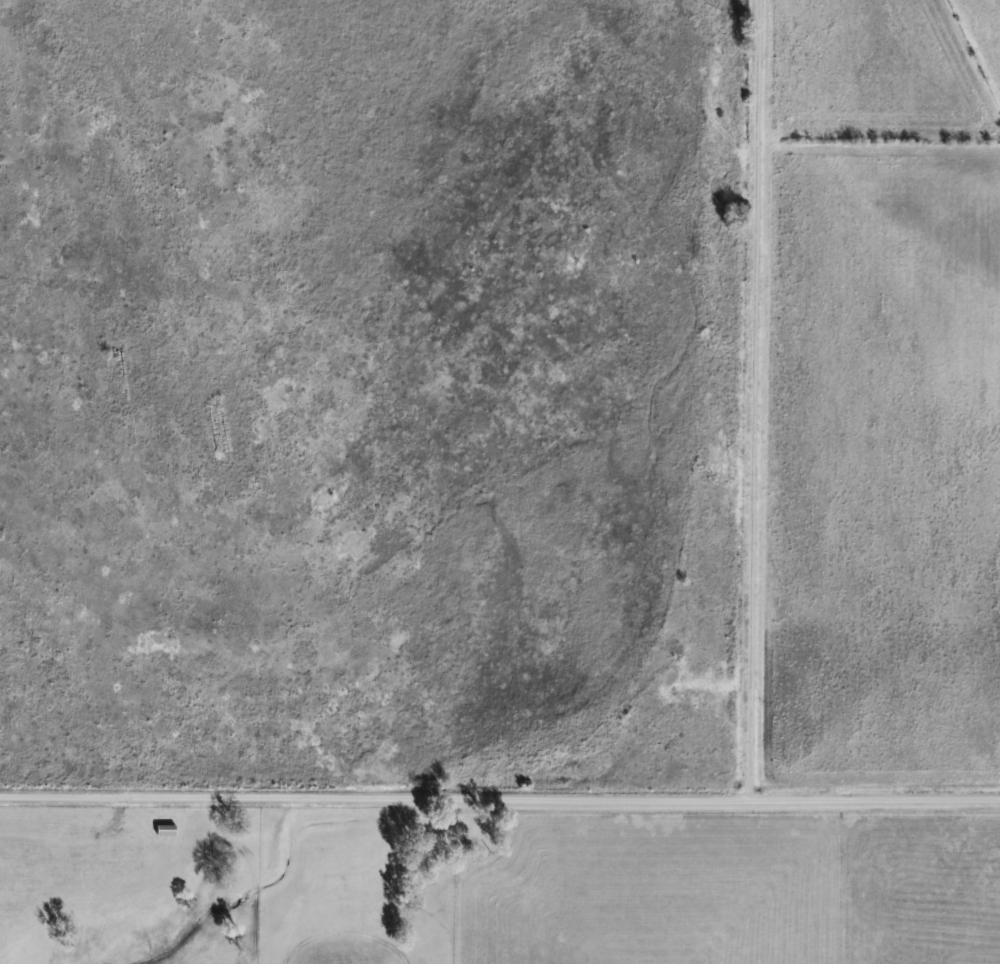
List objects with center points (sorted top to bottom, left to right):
road: (752, 399)
road: (500, 797)
building: (166, 829)

